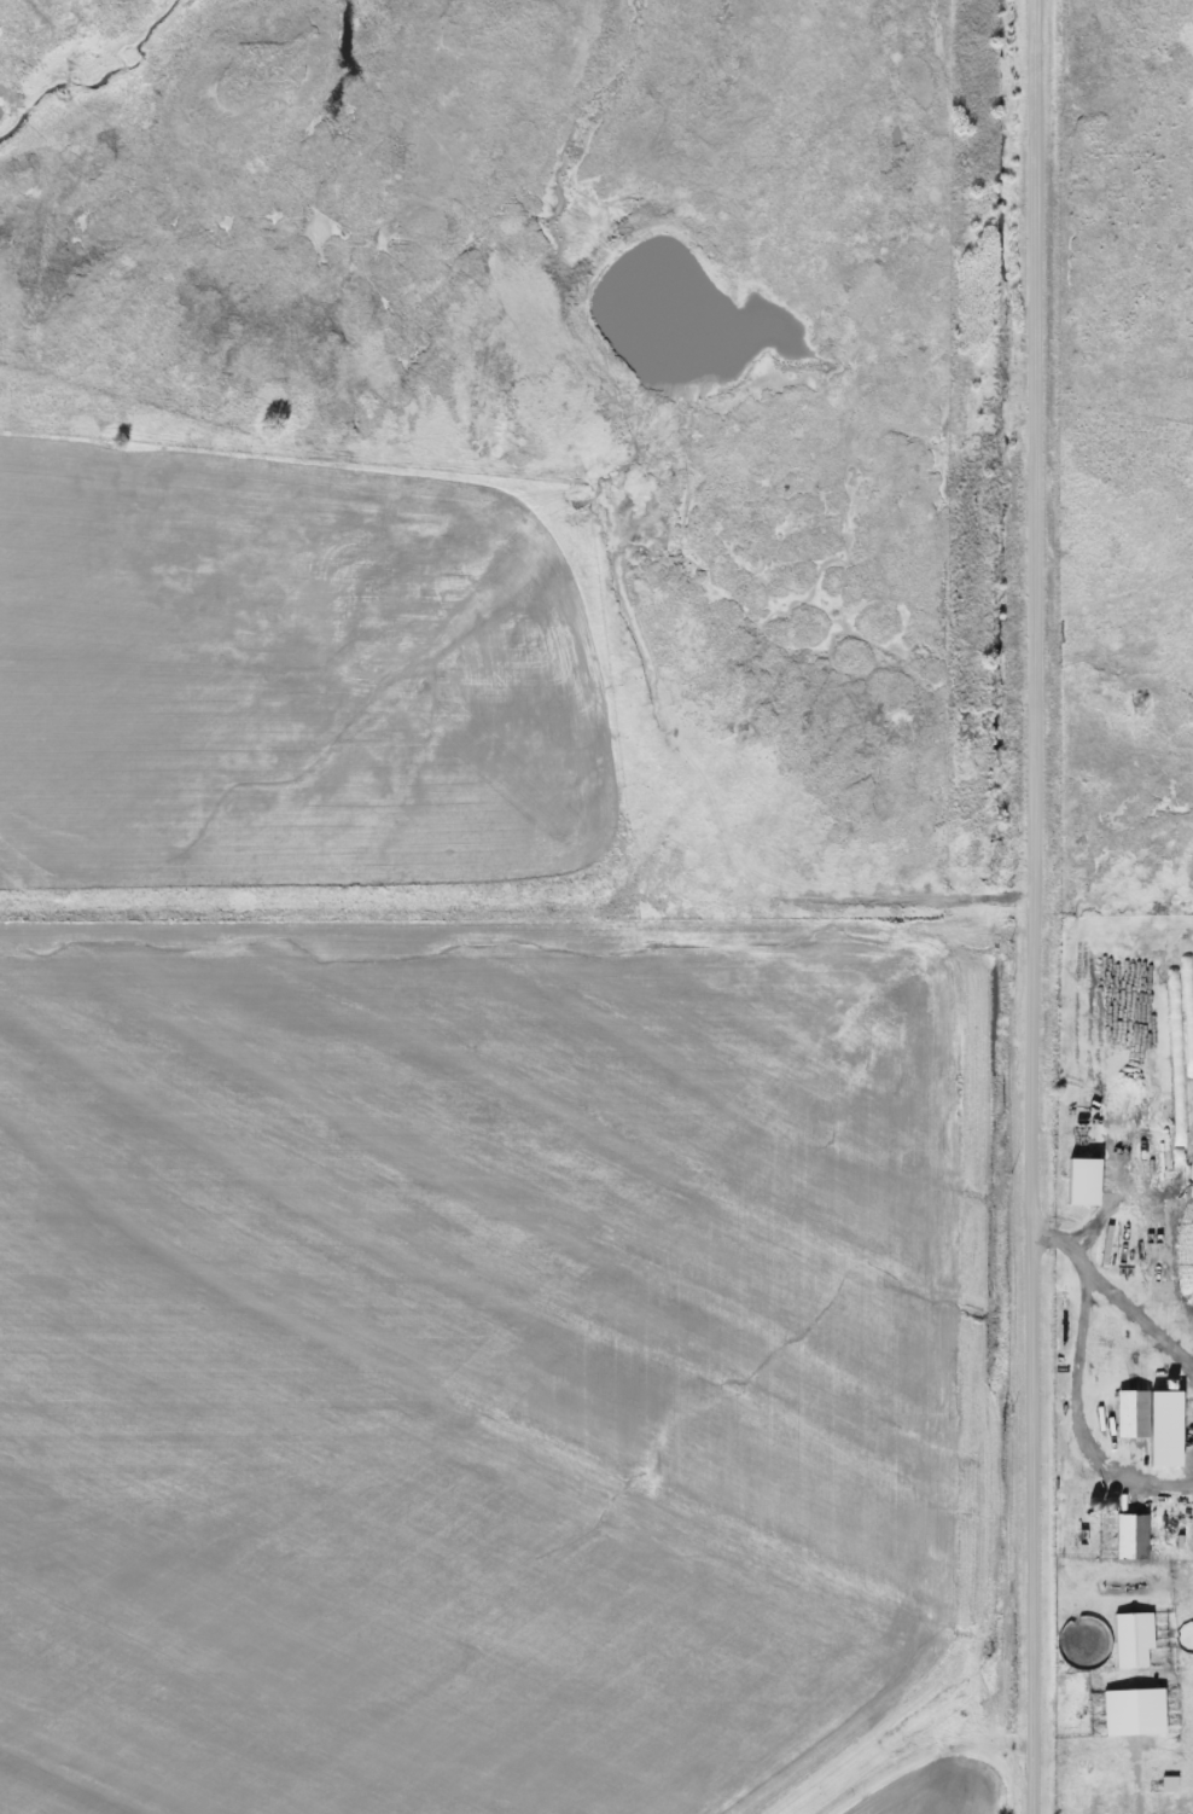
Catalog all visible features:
road: (1032, 907)
building: (1131, 1415)
building: (1131, 1537)
building: (1133, 1641)
building: (1134, 1714)

